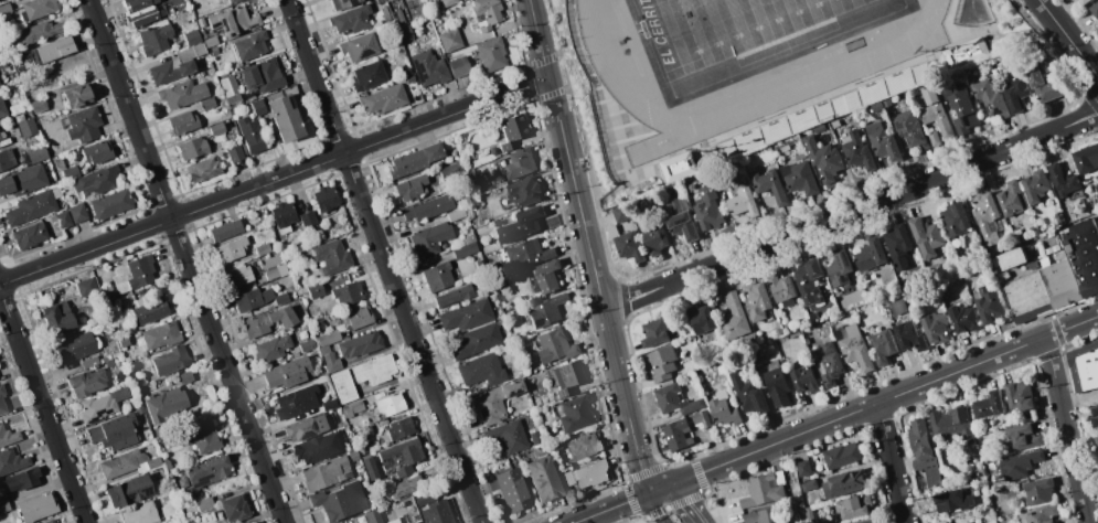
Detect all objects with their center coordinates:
building: (232, 1)
building: (452, 1)
building: (1084, 1)
building: (343, 3)
building: (38, 8)
building: (4, 9)
building: (1095, 11)
building: (141, 12)
building: (486, 12)
building: (386, 13)
building: (401, 17)
building: (351, 20)
building: (199, 21)
building: (233, 21)
building: (201, 26)
park: (719, 26)
building: (39, 32)
building: (407, 32)
building: (202, 34)
building: (192, 38)
building: (153, 39)
building: (450, 40)
road: (1067, 40)
building: (211, 42)
building: (249, 45)
building: (360, 47)
building: (52, 50)
building: (214, 51)
building: (963, 52)
building: (491, 54)
building: (18, 63)
building: (175, 65)
building: (458, 66)
building: (429, 68)
building: (406, 71)
building: (201, 74)
building: (263, 75)
building: (367, 75)
building: (1041, 79)
building: (409, 81)
track: (809, 82)
building: (888, 86)
building: (0, 87)
building: (18, 88)
building: (231, 89)
building: (182, 93)
building: (1016, 94)
building: (77, 97)
building: (249, 97)
building: (383, 99)
building: (990, 99)
building: (207, 104)
building: (39, 106)
building: (258, 107)
building: (2, 108)
building: (961, 110)
building: (936, 113)
building: (285, 117)
building: (183, 122)
building: (82, 125)
building: (30, 127)
building: (218, 128)
building: (910, 129)
building: (512, 130)
building: (1, 135)
building: (252, 135)
building: (230, 137)
building: (934, 138)
building: (883, 141)
building: (192, 148)
building: (856, 151)
building: (97, 152)
building: (235, 153)
building: (35, 156)
building: (1086, 158)
building: (7, 159)
building: (414, 160)
building: (823, 160)
building: (520, 163)
building: (203, 169)
building: (71, 172)
building: (448, 172)
building: (671, 177)
building: (799, 178)
road: (273, 180)
building: (23, 181)
building: (97, 181)
building: (1065, 182)
building: (1097, 184)
building: (769, 185)
building: (1035, 185)
building: (1097, 186)
building: (411, 188)
building: (692, 191)
building: (524, 192)
building: (324, 198)
building: (1010, 199)
road: (880, 200)
building: (742, 202)
building: (110, 204)
building: (33, 206)
building: (429, 209)
building: (707, 211)
building: (78, 213)
building: (456, 214)
road: (578, 214)
building: (284, 216)
building: (987, 216)
building: (308, 218)
building: (680, 218)
building: (1058, 218)
building: (60, 220)
building: (953, 220)
building: (522, 225)
building: (226, 231)
building: (320, 233)
building: (29, 235)
building: (926, 236)
building: (469, 237)
building: (429, 239)
building: (655, 239)
building: (626, 243)
building: (898, 246)
building: (231, 249)
building: (263, 249)
building: (1052, 249)
building: (465, 250)
building: (530, 254)
building: (1083, 254)
building: (870, 255)
building: (333, 257)
building: (294, 258)
road: (987, 258)
building: (1012, 258)
road: (186, 260)
road: (383, 261)
building: (1032, 266)
building: (839, 268)
building: (134, 274)
building: (271, 274)
building: (238, 276)
building: (438, 277)
building: (546, 277)
building: (808, 280)
building: (1060, 282)
building: (87, 287)
building: (781, 289)
building: (313, 290)
building: (348, 292)
building: (108, 293)
building: (452, 296)
building: (1026, 297)
building: (281, 298)
road: (630, 298)
building: (252, 299)
building: (755, 301)
building: (988, 305)
building: (897, 307)
building: (149, 310)
building: (546, 310)
building: (466, 314)
building: (57, 317)
building: (356, 318)
building: (733, 318)
building: (963, 318)
building: (701, 319)
building: (267, 321)
building: (936, 328)
building: (657, 332)
building: (778, 332)
building: (161, 335)
building: (106, 337)
building: (909, 337)
building: (329, 338)
building: (124, 340)
building: (477, 341)
building: (781, 342)
building: (360, 344)
building: (308, 345)
building: (555, 346)
building: (854, 346)
building: (883, 346)
building: (73, 349)
building: (271, 349)
building: (324, 349)
building: (105, 359)
building: (756, 359)
building: (171, 361)
building: (331, 362)
building: (90, 363)
building: (662, 363)
building: (828, 363)
building: (1084, 366)
building: (374, 370)
building: (481, 370)
building: (286, 374)
building: (124, 375)
building: (185, 377)
building: (566, 377)
building: (804, 380)
building: (87, 382)
building: (138, 382)
building: (344, 386)
building: (777, 386)
building: (540, 389)
building: (748, 394)
building: (1020, 396)
building: (2, 401)
building: (675, 401)
building: (494, 402)
road: (878, 402)
building: (292, 404)
building: (391, 404)
building: (102, 405)
building: (166, 405)
building: (329, 405)
building: (989, 405)
road: (42, 408)
building: (353, 408)
building: (140, 409)
building: (723, 410)
building: (576, 413)
building: (1094, 417)
building: (701, 419)
building: (953, 425)
building: (306, 428)
building: (159, 430)
building: (396, 430)
road: (1066, 430)
building: (363, 431)
building: (115, 433)
building: (678, 434)
building: (8, 436)
building: (202, 437)
building: (508, 437)
building: (535, 437)
building: (1022, 438)
building: (1096, 442)
building: (584, 446)
building: (315, 448)
building: (923, 450)
building: (842, 456)
building: (401, 457)
building: (11, 461)
road: (640, 461)
road: (891, 462)
building: (127, 463)
building: (1021, 463)
building: (167, 465)
building: (370, 468)
building: (803, 468)
building: (206, 471)
building: (328, 472)
building: (588, 474)
building: (171, 476)
building: (946, 478)
building: (544, 479)
building: (20, 480)
building: (182, 482)
building: (844, 483)
building: (411, 485)
building: (809, 485)
traffic signals: (659, 489)
building: (765, 489)
building: (513, 490)
building: (129, 491)
building: (1038, 491)
building: (790, 498)
building: (950, 501)
building: (340, 502)
road: (681, 502)
building: (204, 503)
building: (3, 504)
building: (799, 504)
road: (616, 505)
road: (657, 506)
building: (853, 506)
building: (38, 508)
building: (234, 509)
building: (140, 513)
building: (435, 513)
building: (809, 514)
building: (374, 515)
building: (1044, 515)
building: (764, 516)
building: (1006, 517)
building: (416, 519)
building: (979, 520)
building: (49, 521)
building: (393, 521)
building: (865, 521)
building: (417, 522)
building: (969, 522)

